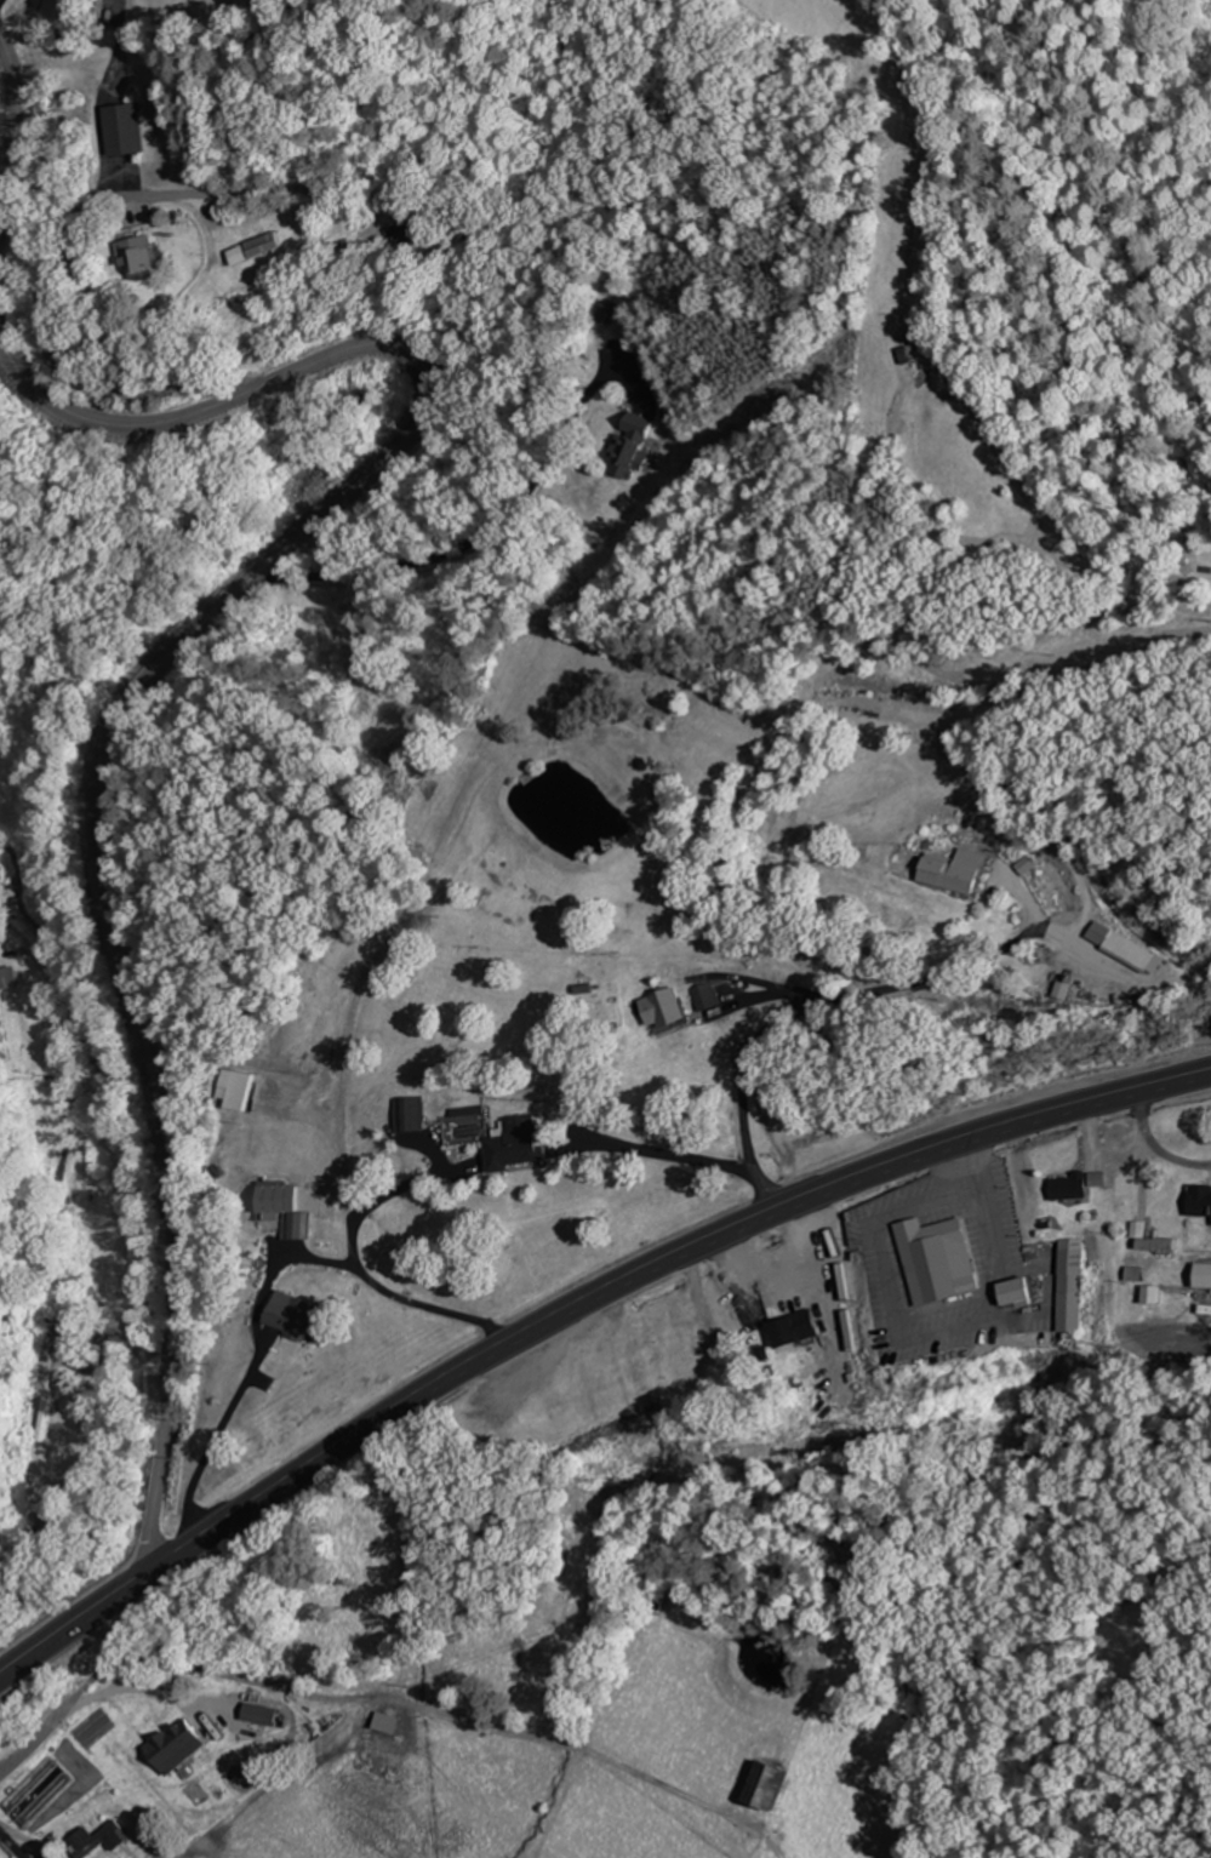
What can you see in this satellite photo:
building: (127, 130)
road: (12, 131)
building: (410, 233)
road: (68, 247)
building: (256, 247)
building: (143, 253)
building: (913, 354)
building: (633, 447)
road: (446, 538)
road: (152, 680)
building: (853, 701)
building: (959, 871)
road: (1083, 896)
building: (1125, 947)
building: (8, 978)
building: (704, 996)
building: (1110, 1001)
building: (664, 1008)
building: (244, 1087)
building: (410, 1114)
building: (518, 1142)
building: (1074, 1187)
building: (1203, 1201)
building: (282, 1213)
building: (1164, 1244)
building: (941, 1259)
building: (1206, 1275)
building: (1079, 1285)
building: (1023, 1291)
road: (571, 1304)
building: (303, 1320)
building: (61, 1322)
building: (679, 1324)
building: (799, 1328)
building: (735, 1380)
building: (45, 1419)
building: (262, 1714)
road: (35, 1743)
building: (177, 1746)
building: (771, 1785)
building: (99, 1840)

